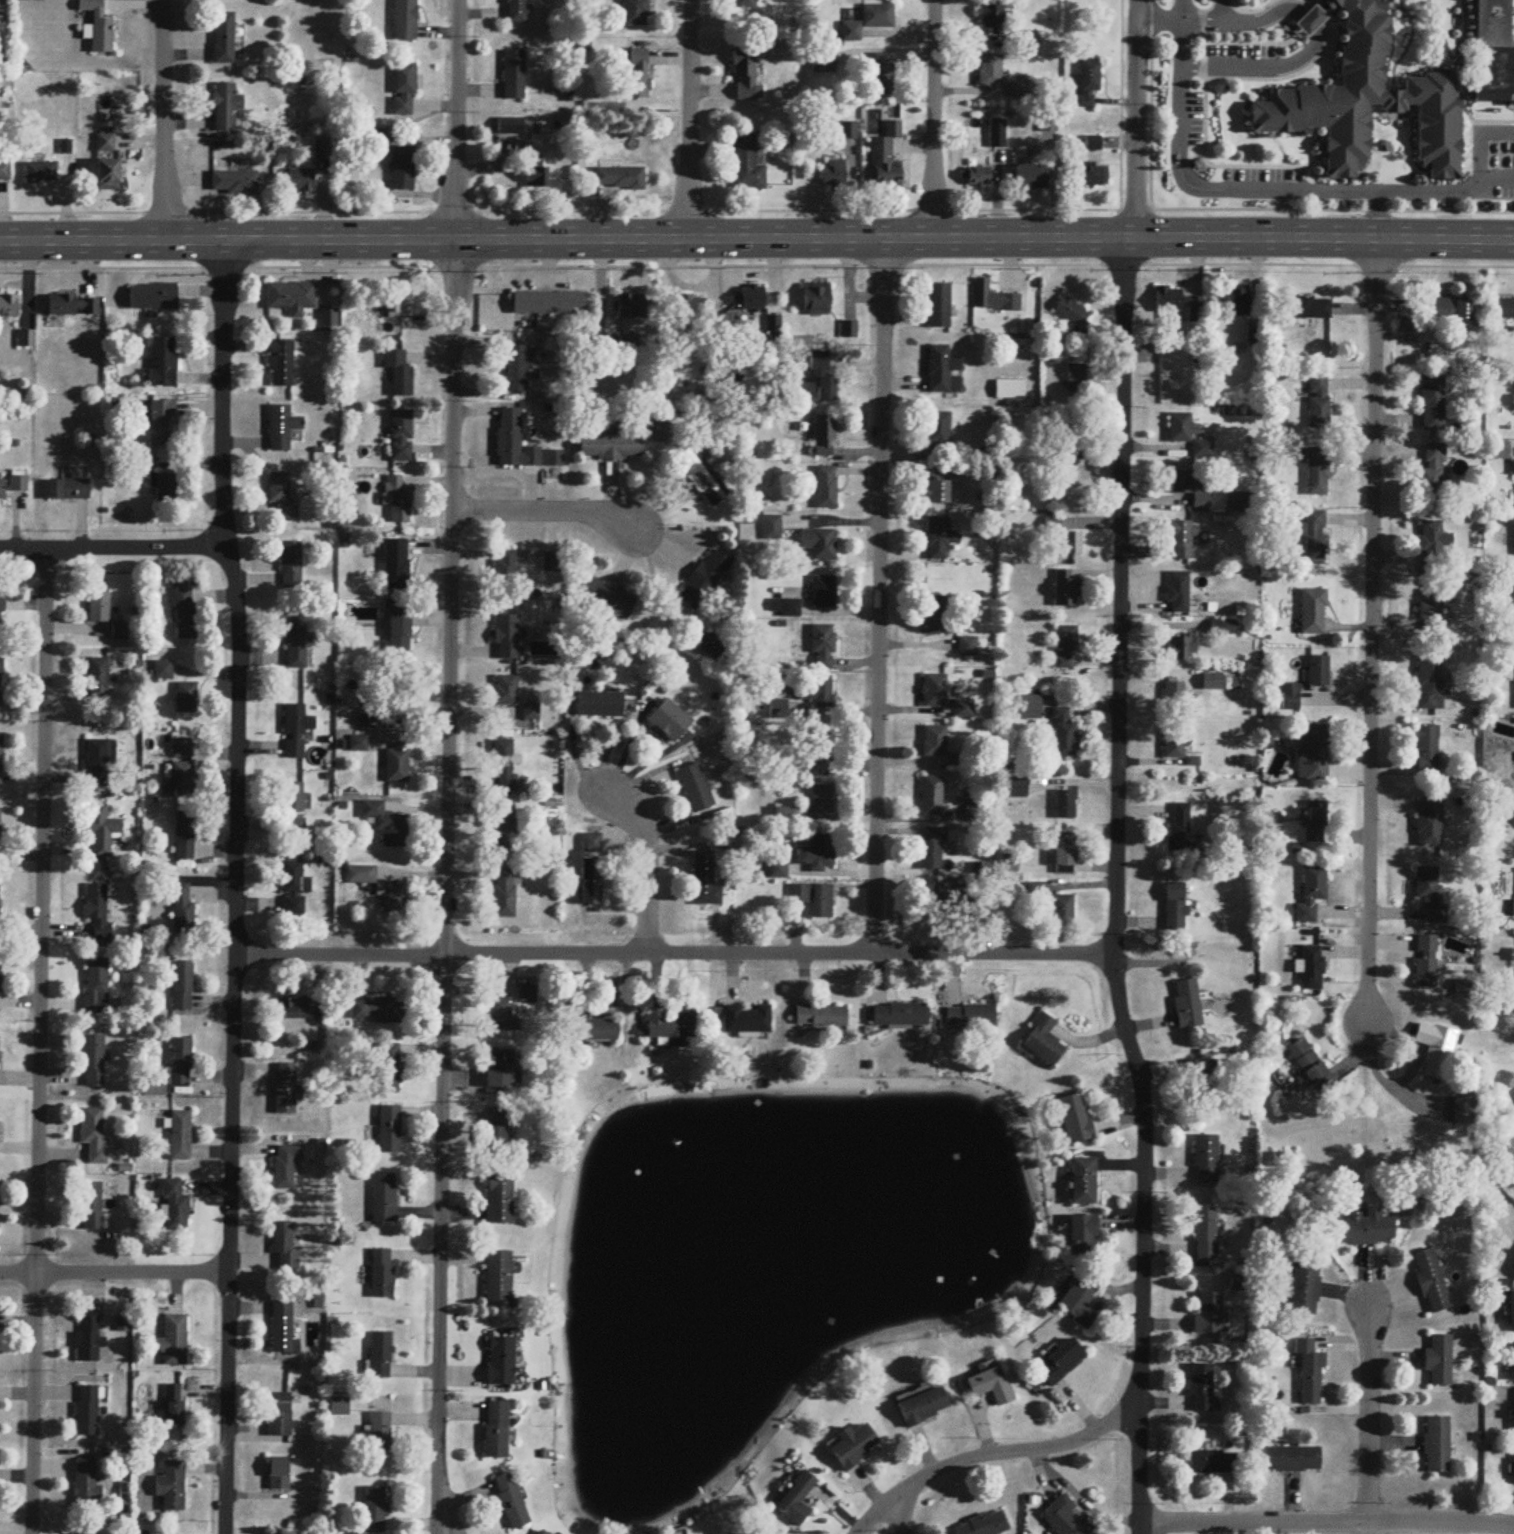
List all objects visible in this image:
road: (1307, 0)
building: (744, 4)
road: (1314, 6)
road: (1186, 8)
road: (1180, 9)
road: (1222, 9)
road: (1252, 10)
building: (516, 12)
building: (634, 13)
road: (1307, 13)
building: (877, 16)
building: (991, 18)
road: (1241, 18)
building: (404, 21)
building: (98, 28)
building: (849, 32)
road: (1512, 36)
road: (1464, 37)
building: (222, 39)
road: (1254, 42)
road: (1448, 47)
road: (1406, 50)
building: (1490, 50)
parking lot: (1240, 60)
building: (823, 63)
road: (1264, 63)
building: (989, 72)
road: (1290, 72)
building: (637, 75)
building: (882, 75)
building: (514, 76)
building: (746, 78)
building: (1087, 85)
building: (403, 90)
building: (1021, 92)
building: (1363, 96)
building: (225, 108)
road: (1139, 117)
parking lot: (1191, 117)
road: (688, 118)
road: (932, 120)
road: (163, 121)
road: (1479, 123)
building: (1047, 125)
building: (510, 127)
building: (997, 134)
road: (1202, 138)
road: (1483, 139)
building: (105, 144)
building: (1092, 144)
road: (1278, 145)
building: (322, 152)
road: (1469, 152)
building: (884, 159)
parking lot: (1492, 160)
building: (402, 168)
building: (747, 169)
building: (5, 172)
building: (536, 172)
building: (40, 173)
building: (833, 174)
parking lot: (1263, 174)
building: (108, 175)
building: (976, 177)
building: (1031, 177)
building: (1092, 177)
road: (1498, 177)
building: (619, 179)
building: (301, 181)
building: (233, 184)
road: (1234, 189)
road: (757, 211)
road: (1376, 214)
road: (757, 238)
road: (757, 266)
building: (981, 293)
building: (152, 297)
building: (291, 298)
building: (752, 298)
building: (815, 300)
building: (1237, 302)
building: (548, 304)
building: (1178, 304)
building: (398, 305)
building: (73, 306)
building: (939, 307)
building: (9, 308)
building: (629, 308)
building: (689, 308)
building: (1506, 310)
building: (1305, 311)
building: (1450, 311)
building: (1071, 314)
building: (773, 324)
building: (26, 339)
building: (818, 362)
building: (163, 363)
building: (280, 364)
building: (516, 369)
building: (938, 370)
building: (1075, 375)
building: (398, 376)
building: (826, 390)
building: (1009, 391)
building: (1319, 403)
building: (1433, 403)
building: (162, 424)
building: (281, 428)
building: (1179, 428)
building: (937, 434)
building: (822, 436)
building: (401, 437)
building: (514, 442)
building: (610, 448)
building: (1202, 450)
building: (554, 459)
building: (1068, 459)
building: (947, 471)
building: (1318, 472)
building: (1434, 474)
building: (701, 477)
building: (19, 481)
building: (165, 487)
building: (825, 488)
building: (1188, 488)
building: (2, 490)
building: (68, 490)
building: (938, 493)
building: (282, 497)
building: (398, 503)
road: (546, 514)
building: (1052, 527)
building: (771, 529)
building: (937, 539)
building: (1182, 539)
building: (1316, 539)
building: (819, 544)
building: (1072, 544)
road: (113, 546)
building: (1435, 547)
building: (552, 563)
building: (291, 565)
building: (395, 565)
building: (505, 567)
building: (703, 580)
building: (1066, 589)
building: (823, 593)
building: (1179, 593)
road: (878, 595)
building: (1511, 598)
building: (608, 599)
building: (1, 606)
building: (98, 608)
building: (789, 609)
building: (1431, 611)
building: (1313, 612)
building: (183, 613)
building: (936, 616)
building: (1224, 626)
building: (399, 630)
road: (1372, 633)
building: (508, 638)
building: (294, 643)
building: (714, 644)
building: (967, 647)
building: (1066, 647)
building: (823, 648)
building: (1181, 649)
building: (1510, 661)
building: (1319, 671)
building: (99, 682)
building: (1213, 682)
building: (1430, 683)
building: (0, 684)
building: (505, 692)
building: (934, 692)
building: (817, 694)
building: (185, 699)
building: (1175, 699)
building: (395, 701)
building: (599, 706)
building: (1029, 709)
building: (778, 710)
building: (963, 710)
building: (531, 713)
building: (370, 716)
building: (670, 722)
building: (295, 731)
building: (1066, 736)
building: (935, 742)
building: (1175, 744)
building: (357, 745)
building: (824, 748)
building: (1428, 750)
building: (1314, 756)
building: (0, 761)
building: (98, 765)
building: (396, 765)
building: (504, 765)
road: (447, 766)
building: (182, 778)
building: (1018, 789)
building: (695, 790)
building: (932, 798)
building: (292, 799)
building: (823, 801)
building: (1066, 806)
building: (786, 817)
building: (1317, 823)
building: (1430, 823)
building: (384, 826)
building: (0, 827)
building: (296, 827)
building: (504, 829)
building: (1180, 829)
building: (101, 831)
building: (184, 838)
building: (596, 846)
building: (933, 849)
building: (1065, 852)
building: (816, 853)
road: (646, 869)
building: (778, 871)
building: (360, 876)
building: (705, 882)
building: (591, 883)
road: (233, 886)
road: (1118, 887)
building: (292, 890)
building: (1431, 893)
building: (1312, 894)
building: (504, 895)
building: (393, 899)
building: (813, 900)
building: (1176, 908)
building: (181, 910)
building: (0, 912)
building: (97, 912)
building: (1062, 913)
road: (672, 952)
building: (1513, 956)
building: (1311, 961)
building: (1427, 963)
building: (95, 987)
building: (182, 987)
building: (1188, 1005)
building: (291, 1010)
building: (377, 1012)
building: (500, 1016)
building: (822, 1017)
building: (901, 1017)
building: (971, 1018)
building: (747, 1021)
building: (672, 1026)
building: (592, 1027)
road: (38, 1040)
building: (1044, 1042)
building: (1437, 1051)
building: (92, 1062)
building: (180, 1063)
building: (1311, 1066)
building: (388, 1069)
building: (501, 1070)
road: (1406, 1077)
building: (1205, 1079)
building: (152, 1089)
building: (286, 1090)
building: (1464, 1112)
building: (1075, 1120)
building: (390, 1130)
building: (497, 1132)
building: (93, 1136)
building: (180, 1137)
building: (1501, 1149)
building: (1206, 1160)
building: (285, 1168)
building: (1084, 1182)
building: (384, 1199)
building: (500, 1200)
building: (91, 1207)
building: (175, 1208)
building: (1364, 1229)
building: (1205, 1234)
building: (1084, 1237)
building: (286, 1247)
road: (115, 1273)
building: (383, 1275)
building: (499, 1277)
building: (1431, 1282)
building: (1304, 1290)
building: (1079, 1304)
building: (1513, 1313)
building: (1208, 1316)
building: (283, 1330)
building: (88, 1341)
building: (174, 1342)
building: (381, 1357)
building: (1439, 1361)
building: (1513, 1361)
building: (501, 1363)
building: (1060, 1363)
building: (1312, 1380)
building: (991, 1386)
building: (1201, 1388)
building: (174, 1406)
building: (340, 1408)
building: (924, 1408)
building: (87, 1412)
building: (280, 1416)
road: (1368, 1418)
building: (497, 1431)
building: (380, 1435)
building: (1437, 1446)
building: (852, 1447)
road: (999, 1451)
building: (1292, 1461)
building: (1213, 1463)
building: (279, 1475)
building: (86, 1488)
building: (172, 1488)
building: (796, 1500)
road: (1079, 1500)
building: (512, 1503)
building: (375, 1511)
road: (902, 1512)
building: (1063, 1518)
road: (1326, 1522)
building: (983, 1526)
road: (445, 1529)
building: (543, 1533)

